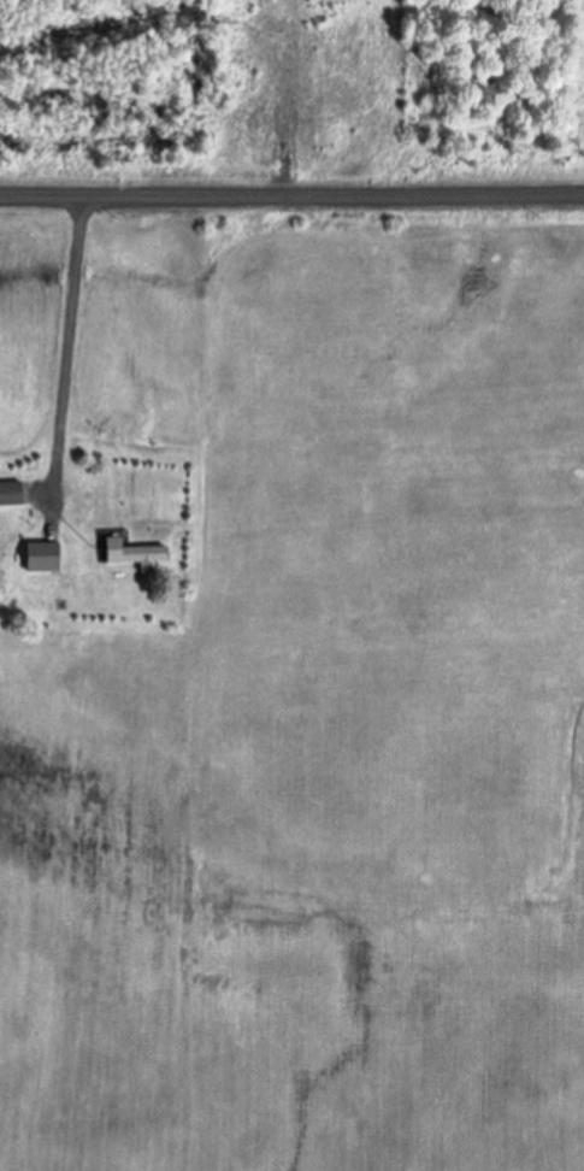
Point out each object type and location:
road: (291, 200)
road: (69, 352)
building: (11, 498)
building: (131, 557)

